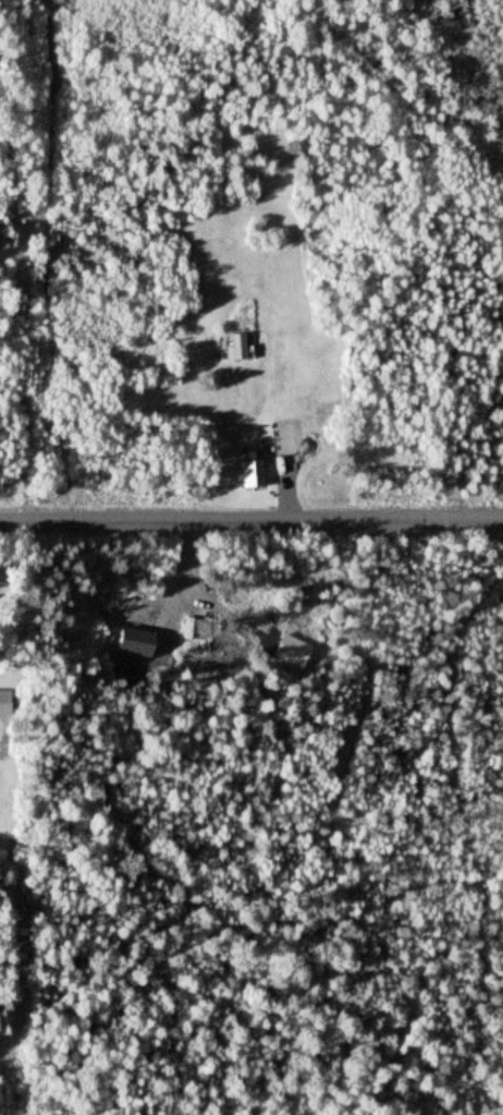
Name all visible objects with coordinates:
building: (242, 348)
building: (254, 473)
road: (250, 520)
building: (4, 704)

